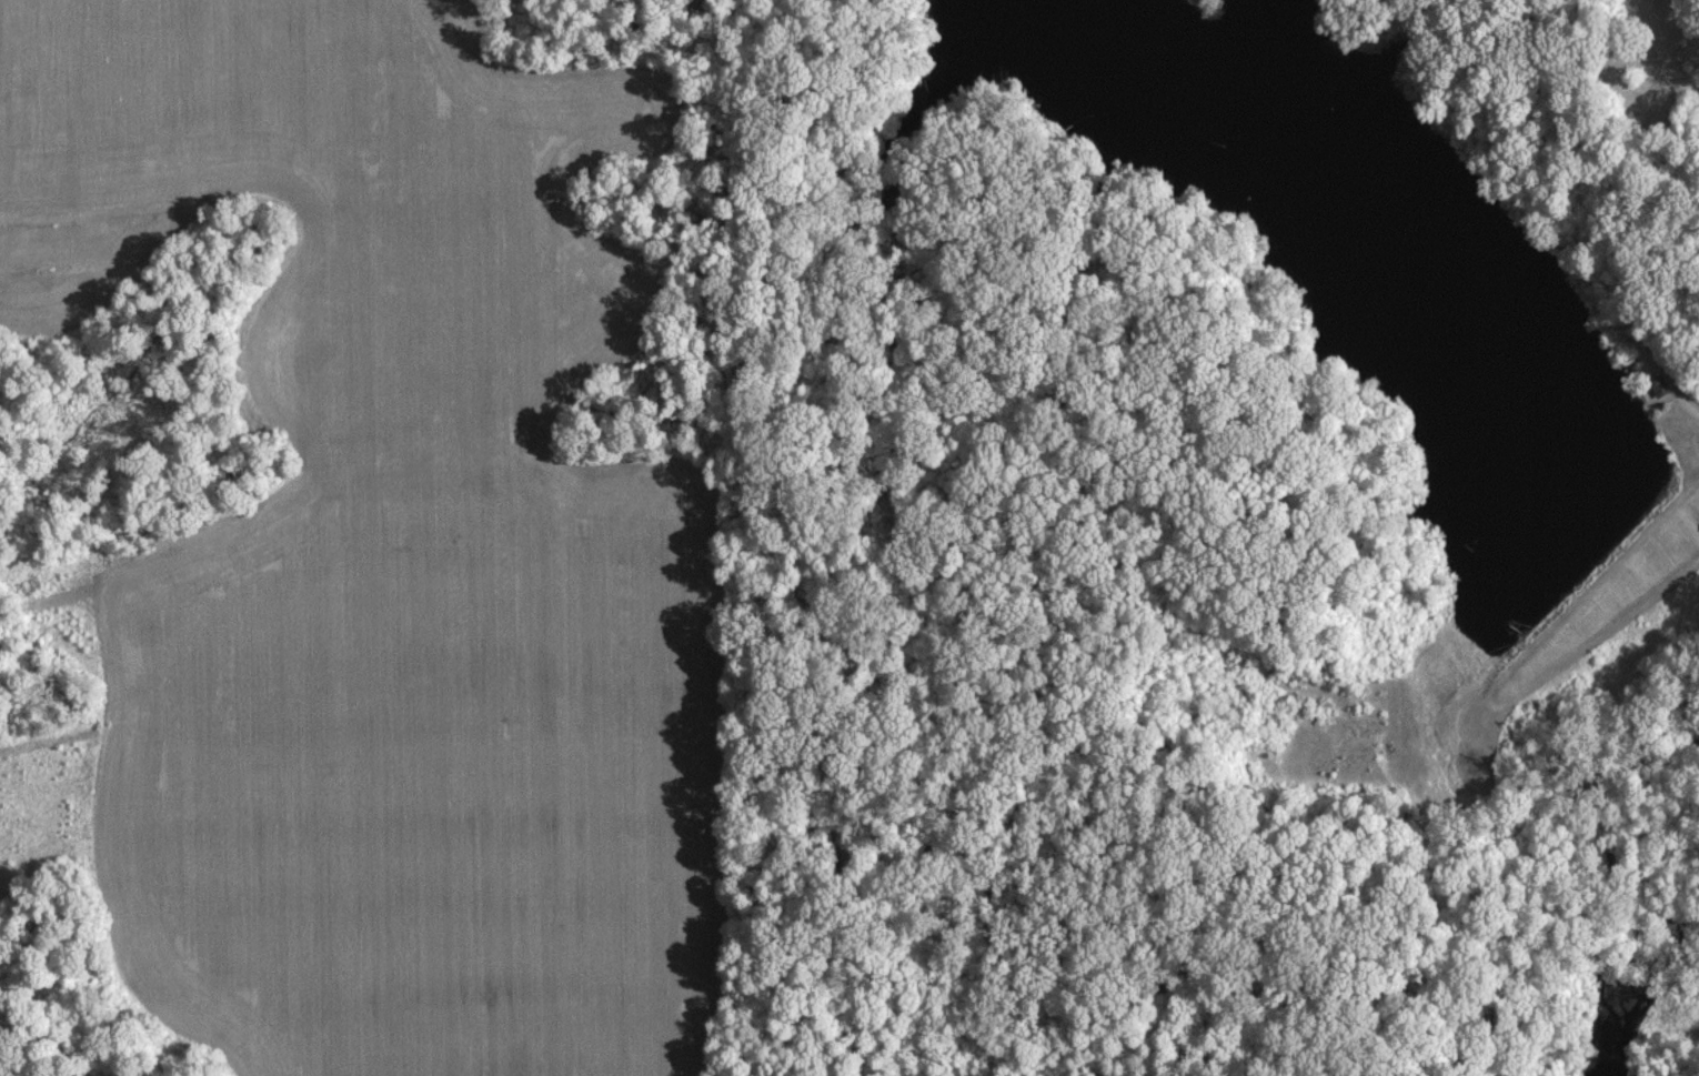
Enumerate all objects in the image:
road: (1663, 51)
road: (1680, 396)

